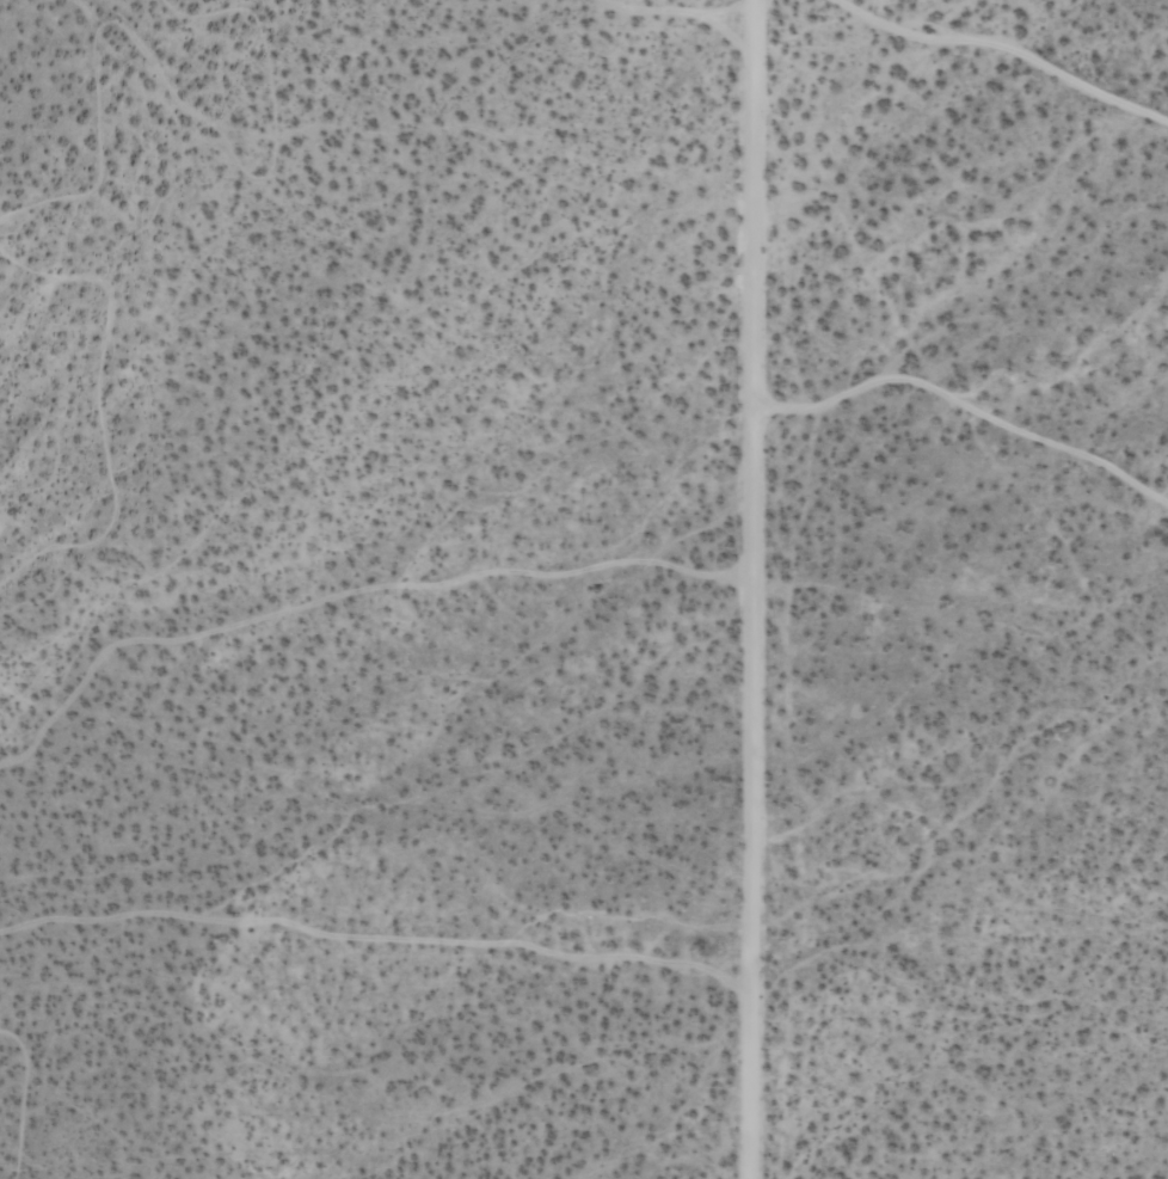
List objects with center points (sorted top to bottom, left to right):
road: (964, 401)
road: (751, 589)

